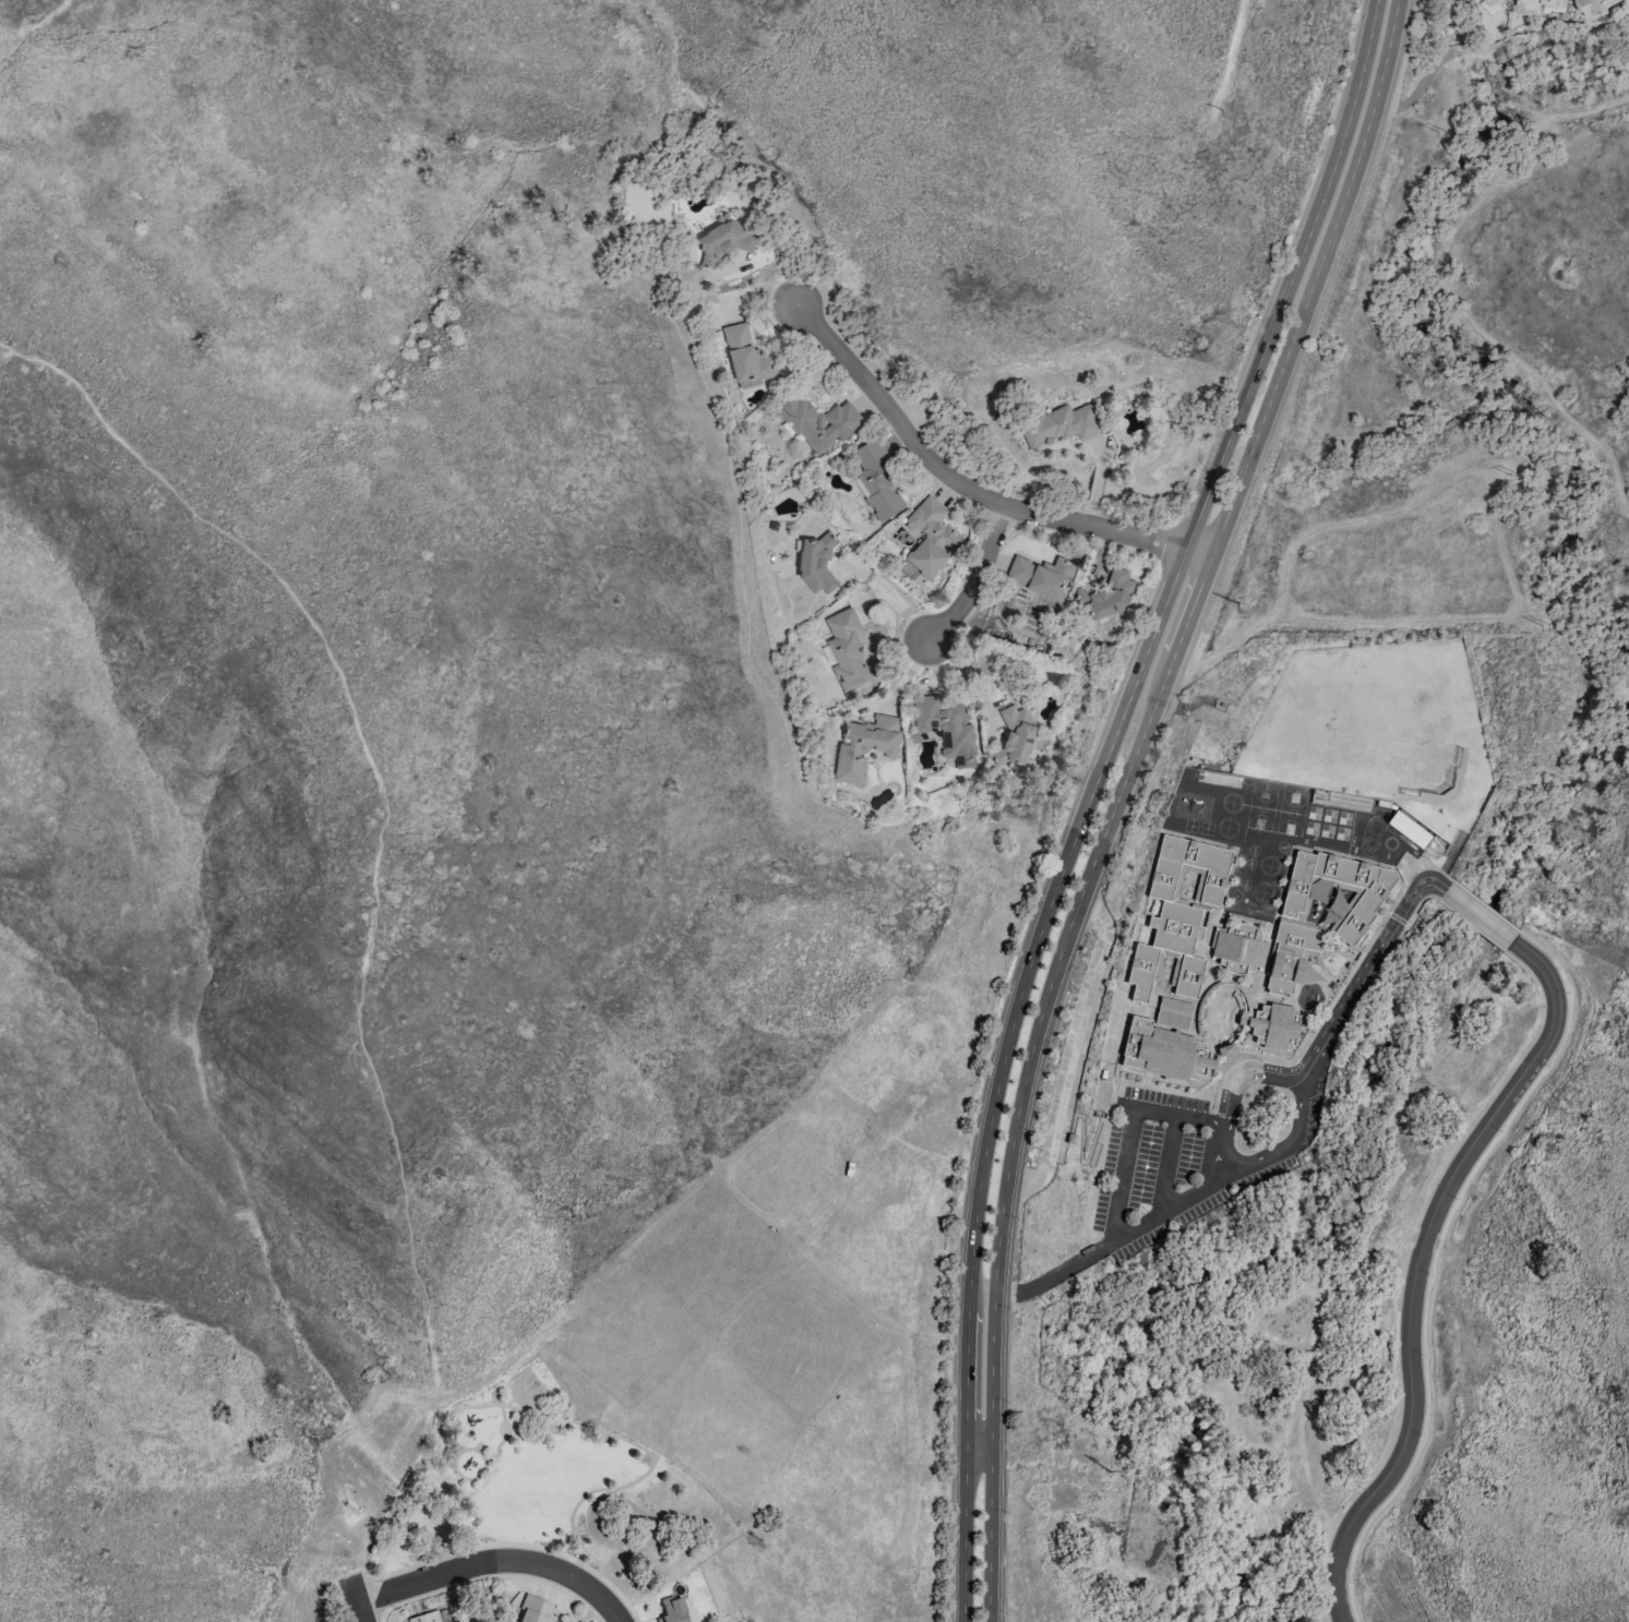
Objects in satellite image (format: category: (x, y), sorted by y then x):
building: (1489, 2)
building: (1537, 3)
building: (1590, 5)
road: (1386, 51)
road: (1495, 82)
building: (721, 241)
building: (745, 357)
building: (815, 421)
building: (1057, 424)
building: (875, 480)
road: (967, 490)
building: (929, 537)
building: (815, 562)
building: (1038, 575)
road: (977, 581)
building: (1104, 594)
road: (888, 597)
building: (843, 649)
road: (966, 677)
building: (1014, 735)
building: (863, 746)
road: (1092, 794)
road: (385, 815)
building: (1409, 830)
road: (1100, 844)
road: (1439, 872)
road: (1437, 886)
building: (1368, 896)
road: (1420, 903)
road: (1485, 906)
building: (1179, 915)
road: (1478, 916)
road: (1472, 926)
building: (1239, 945)
building: (1291, 954)
road: (1363, 981)
building: (1200, 1008)
building: (1174, 1013)
building: (1273, 1025)
road: (1070, 1049)
building: (1225, 1049)
building: (1164, 1052)
road: (1284, 1072)
road: (1210, 1126)
road: (1128, 1143)
road: (1164, 1167)
road: (1128, 1234)
road: (1435, 1259)
road: (1416, 1264)
road: (1403, 1273)
road: (1023, 1290)
road: (1005, 1291)
park: (1429, 1314)
park: (525, 1391)
road: (458, 1410)
road: (979, 1449)
road: (646, 1471)
park: (532, 1488)
road: (495, 1561)
road: (356, 1602)
building: (537, 1609)
building: (678, 1610)
building: (426, 1618)
building: (579, 1621)

